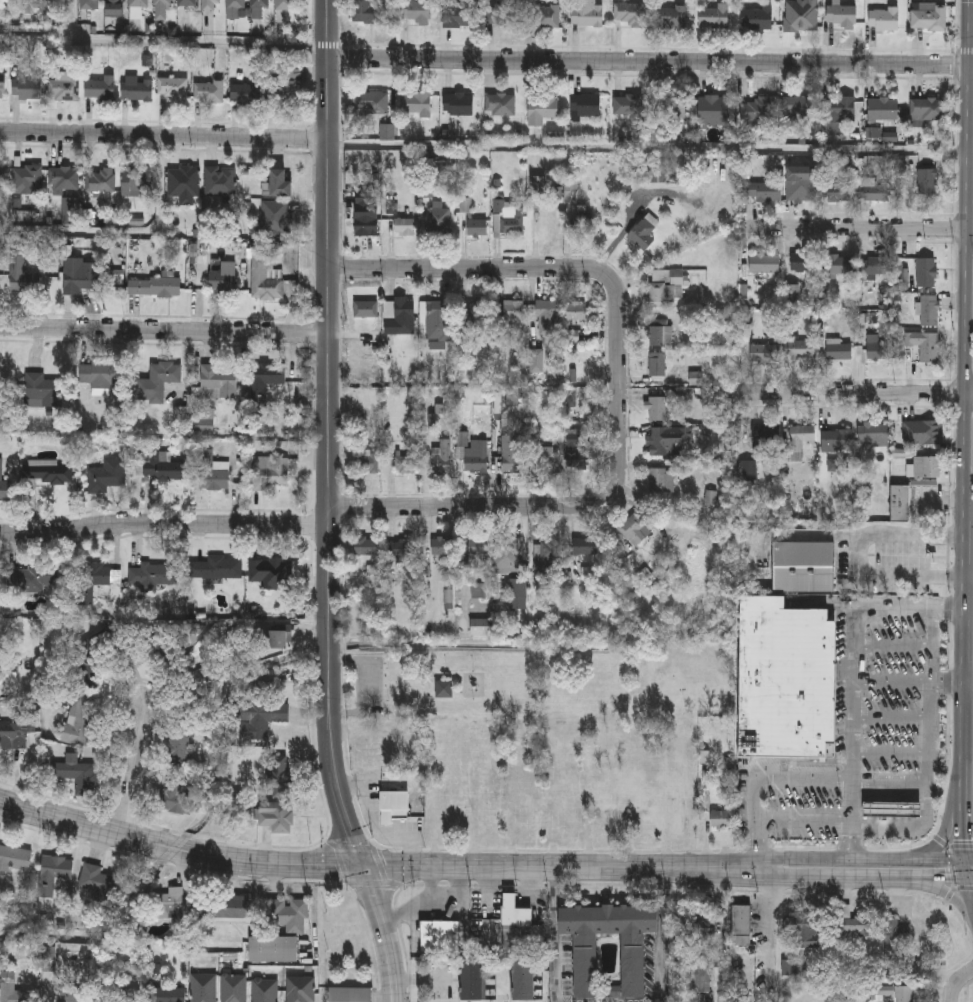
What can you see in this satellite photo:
building: (139, 3)
building: (187, 3)
building: (90, 4)
building: (114, 4)
building: (211, 5)
building: (236, 5)
building: (259, 5)
building: (284, 5)
building: (162, 9)
building: (417, 11)
building: (811, 11)
building: (373, 12)
road: (966, 12)
building: (502, 13)
building: (463, 14)
building: (587, 14)
building: (629, 14)
building: (544, 15)
building: (714, 16)
building: (842, 16)
building: (672, 17)
building: (929, 17)
building: (757, 18)
building: (884, 19)
road: (969, 25)
road: (37, 33)
road: (183, 44)
road: (650, 58)
road: (965, 77)
building: (2, 85)
building: (28, 87)
building: (174, 87)
building: (64, 89)
building: (100, 89)
building: (284, 89)
building: (138, 91)
building: (209, 91)
building: (249, 92)
building: (372, 103)
building: (417, 104)
building: (460, 104)
building: (500, 104)
building: (586, 105)
building: (628, 105)
building: (671, 105)
building: (714, 106)
building: (798, 107)
building: (841, 107)
building: (542, 109)
building: (756, 109)
building: (884, 109)
building: (928, 109)
road: (163, 136)
road: (646, 148)
road: (964, 152)
building: (903, 165)
road: (968, 174)
building: (3, 176)
building: (28, 177)
building: (101, 180)
building: (183, 181)
building: (927, 181)
building: (137, 182)
building: (220, 182)
building: (278, 185)
building: (67, 190)
building: (805, 190)
building: (875, 190)
building: (766, 192)
building: (838, 192)
building: (276, 217)
building: (508, 218)
building: (437, 220)
building: (548, 222)
building: (583, 222)
building: (367, 224)
building: (404, 226)
building: (477, 227)
road: (859, 227)
building: (643, 233)
road: (126, 236)
building: (804, 262)
building: (765, 263)
building: (842, 264)
building: (17, 265)
building: (877, 266)
building: (927, 272)
building: (87, 277)
building: (50, 278)
building: (266, 279)
building: (223, 281)
building: (154, 287)
building: (665, 288)
building: (365, 308)
building: (576, 310)
building: (929, 310)
building: (475, 312)
building: (403, 318)
building: (548, 318)
building: (436, 320)
building: (508, 320)
road: (163, 331)
building: (660, 332)
road: (964, 344)
building: (924, 345)
building: (877, 347)
building: (800, 349)
building: (839, 350)
building: (765, 353)
building: (537, 360)
building: (657, 364)
building: (100, 374)
building: (219, 380)
building: (158, 382)
building: (267, 383)
road: (617, 387)
road: (857, 390)
building: (43, 391)
building: (657, 409)
building: (924, 433)
building: (873, 434)
building: (801, 436)
building: (766, 437)
building: (663, 439)
building: (837, 440)
building: (473, 453)
building: (513, 454)
building: (441, 458)
building: (548, 460)
building: (577, 461)
building: (367, 462)
building: (406, 464)
building: (162, 467)
building: (927, 468)
building: (47, 472)
building: (210, 472)
building: (269, 472)
building: (107, 475)
building: (662, 480)
building: (4, 487)
road: (942, 500)
building: (900, 504)
road: (328, 505)
road: (164, 524)
building: (635, 529)
building: (440, 546)
building: (586, 546)
road: (964, 546)
building: (367, 547)
building: (401, 550)
building: (551, 550)
building: (474, 551)
road: (857, 554)
building: (508, 555)
road: (460, 563)
building: (803, 566)
building: (216, 567)
building: (270, 571)
building: (160, 574)
road: (968, 576)
building: (39, 577)
building: (97, 581)
road: (964, 630)
building: (89, 669)
building: (201, 675)
building: (786, 679)
road: (948, 683)
road: (968, 684)
building: (444, 688)
building: (260, 719)
building: (81, 720)
building: (14, 731)
road: (852, 734)
park: (545, 738)
building: (181, 742)
road: (930, 756)
road: (133, 771)
road: (963, 771)
building: (75, 775)
building: (281, 776)
building: (177, 798)
building: (394, 807)
building: (892, 811)
gas station: (892, 811)
building: (276, 817)
building: (567, 817)
building: (530, 820)
building: (721, 820)
road: (851, 821)
road: (942, 830)
road: (860, 858)
traffic signals: (961, 858)
road: (967, 858)
building: (15, 860)
traffic signals: (363, 867)
road: (376, 867)
road: (962, 868)
road: (861, 877)
traffic signals: (964, 878)
road: (968, 878)
building: (55, 879)
road: (431, 884)
building: (97, 885)
road: (942, 891)
road: (968, 896)
road: (436, 901)
building: (168, 905)
building: (225, 908)
building: (289, 915)
building: (679, 927)
building: (741, 927)
building: (856, 928)
building: (517, 929)
building: (806, 933)
road: (555, 935)
road: (662, 935)
building: (897, 936)
building: (440, 938)
road: (785, 939)
building: (274, 950)
building: (632, 959)
building: (473, 980)
building: (524, 981)
building: (700, 981)
road: (958, 985)
building: (234, 987)
building: (204, 988)
building: (300, 989)
building: (265, 990)
building: (74, 994)
building: (904, 994)
building: (116, 995)
building: (164, 995)
building: (350, 995)

